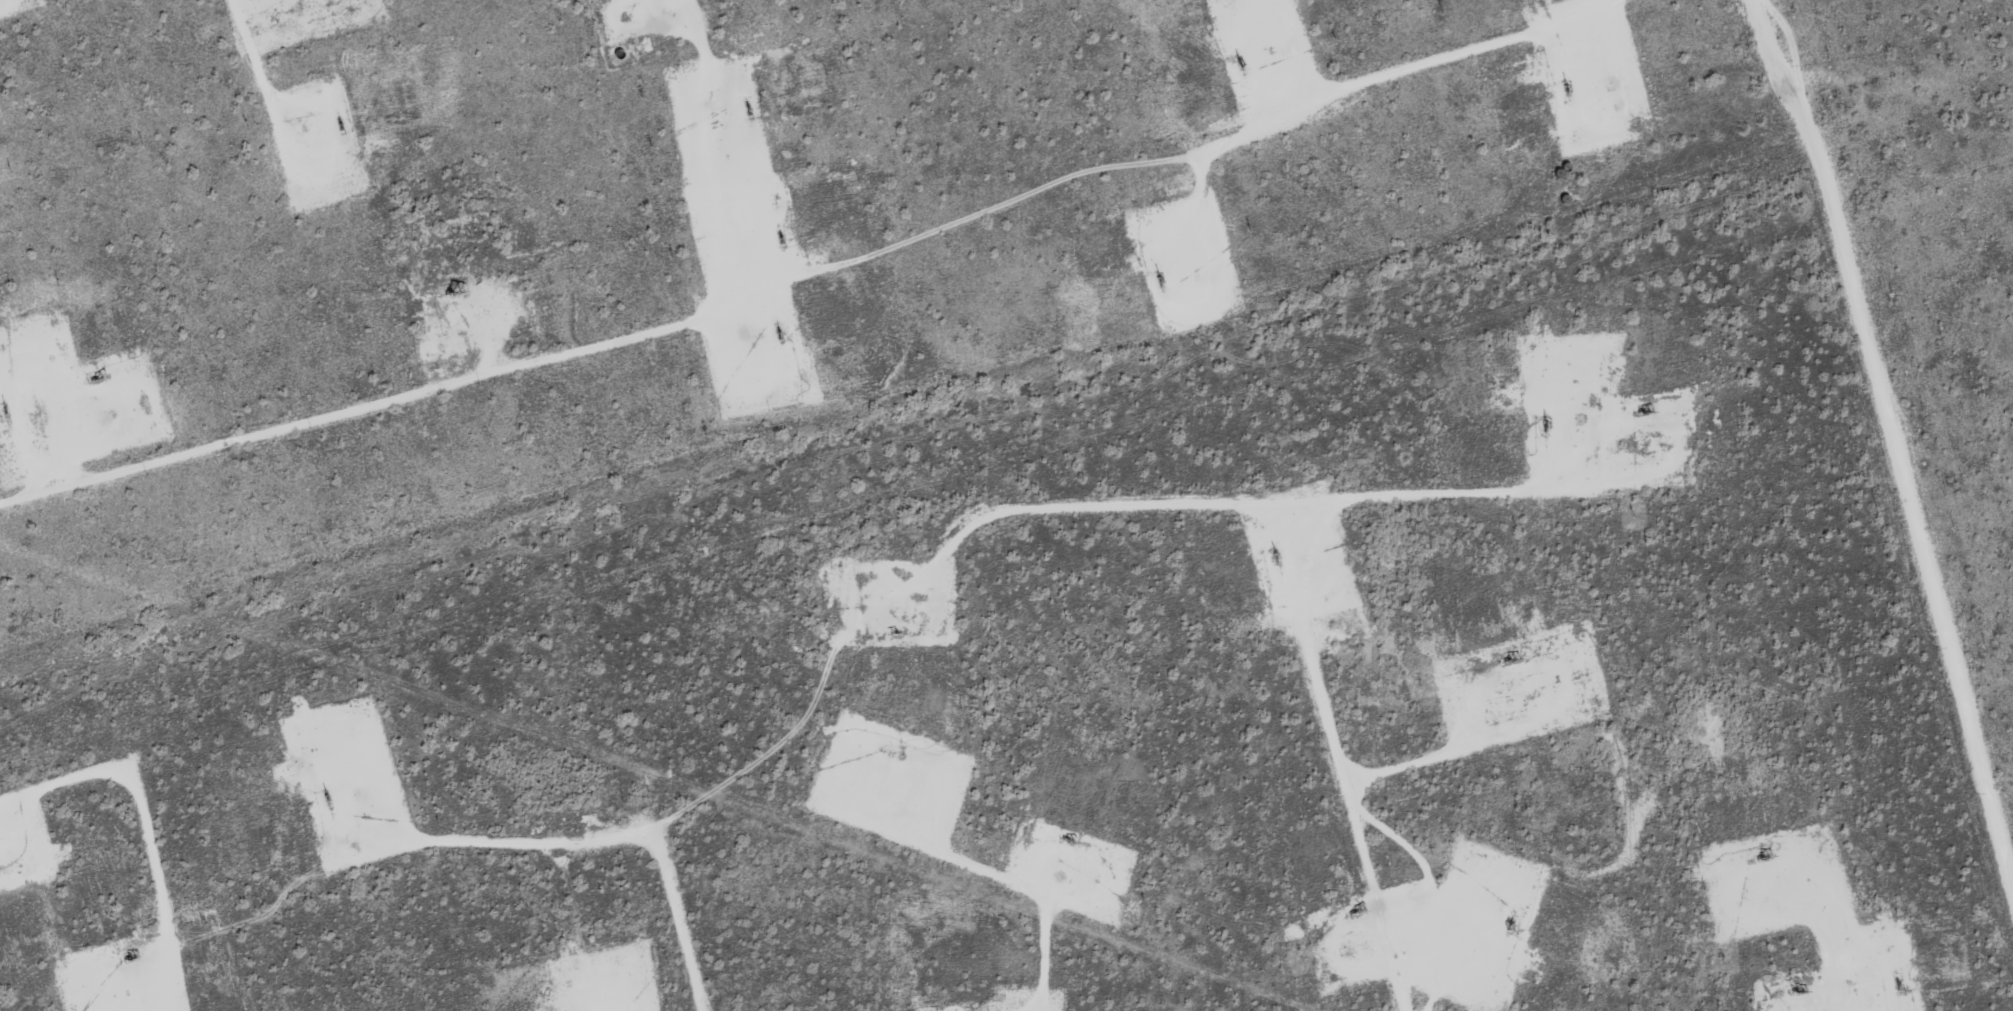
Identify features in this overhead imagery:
road: (1896, 433)

